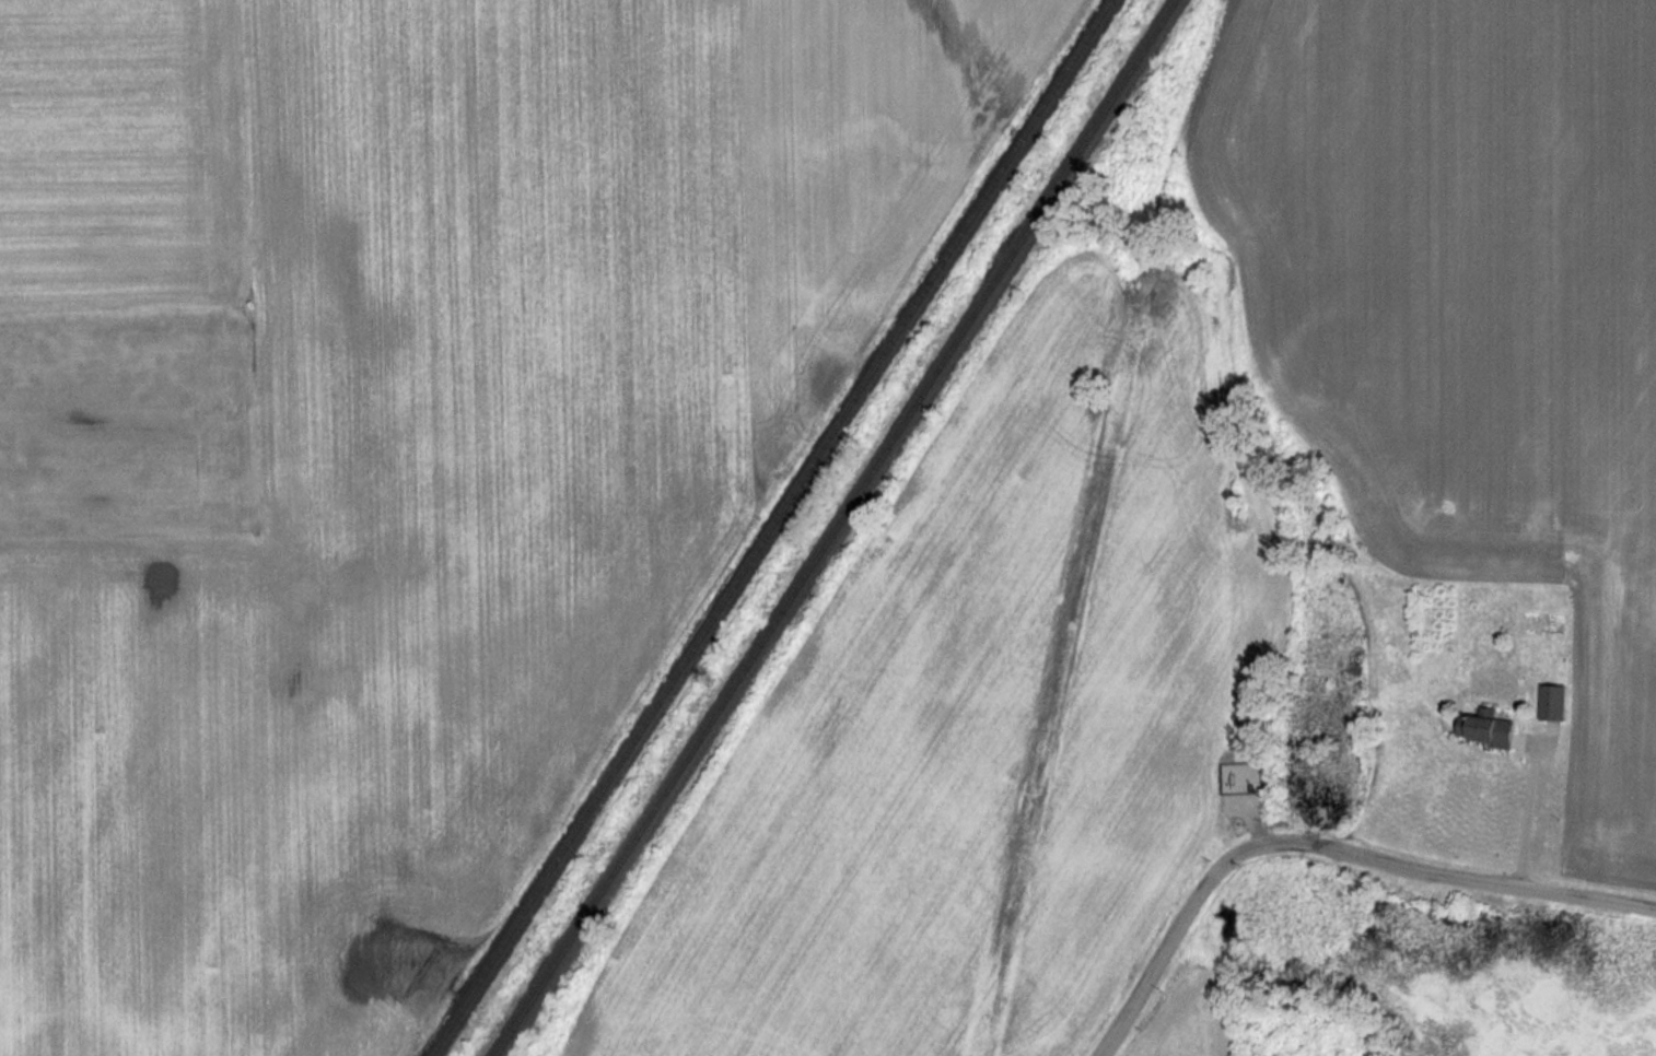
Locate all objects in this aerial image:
crop: (1466, 315)
railway: (770, 528)
railway: (836, 528)
building: (1552, 701)
building: (1486, 727)
road: (1548, 731)
crop: (958, 738)
crop: (295, 758)
road: (1527, 800)
road: (1323, 847)

